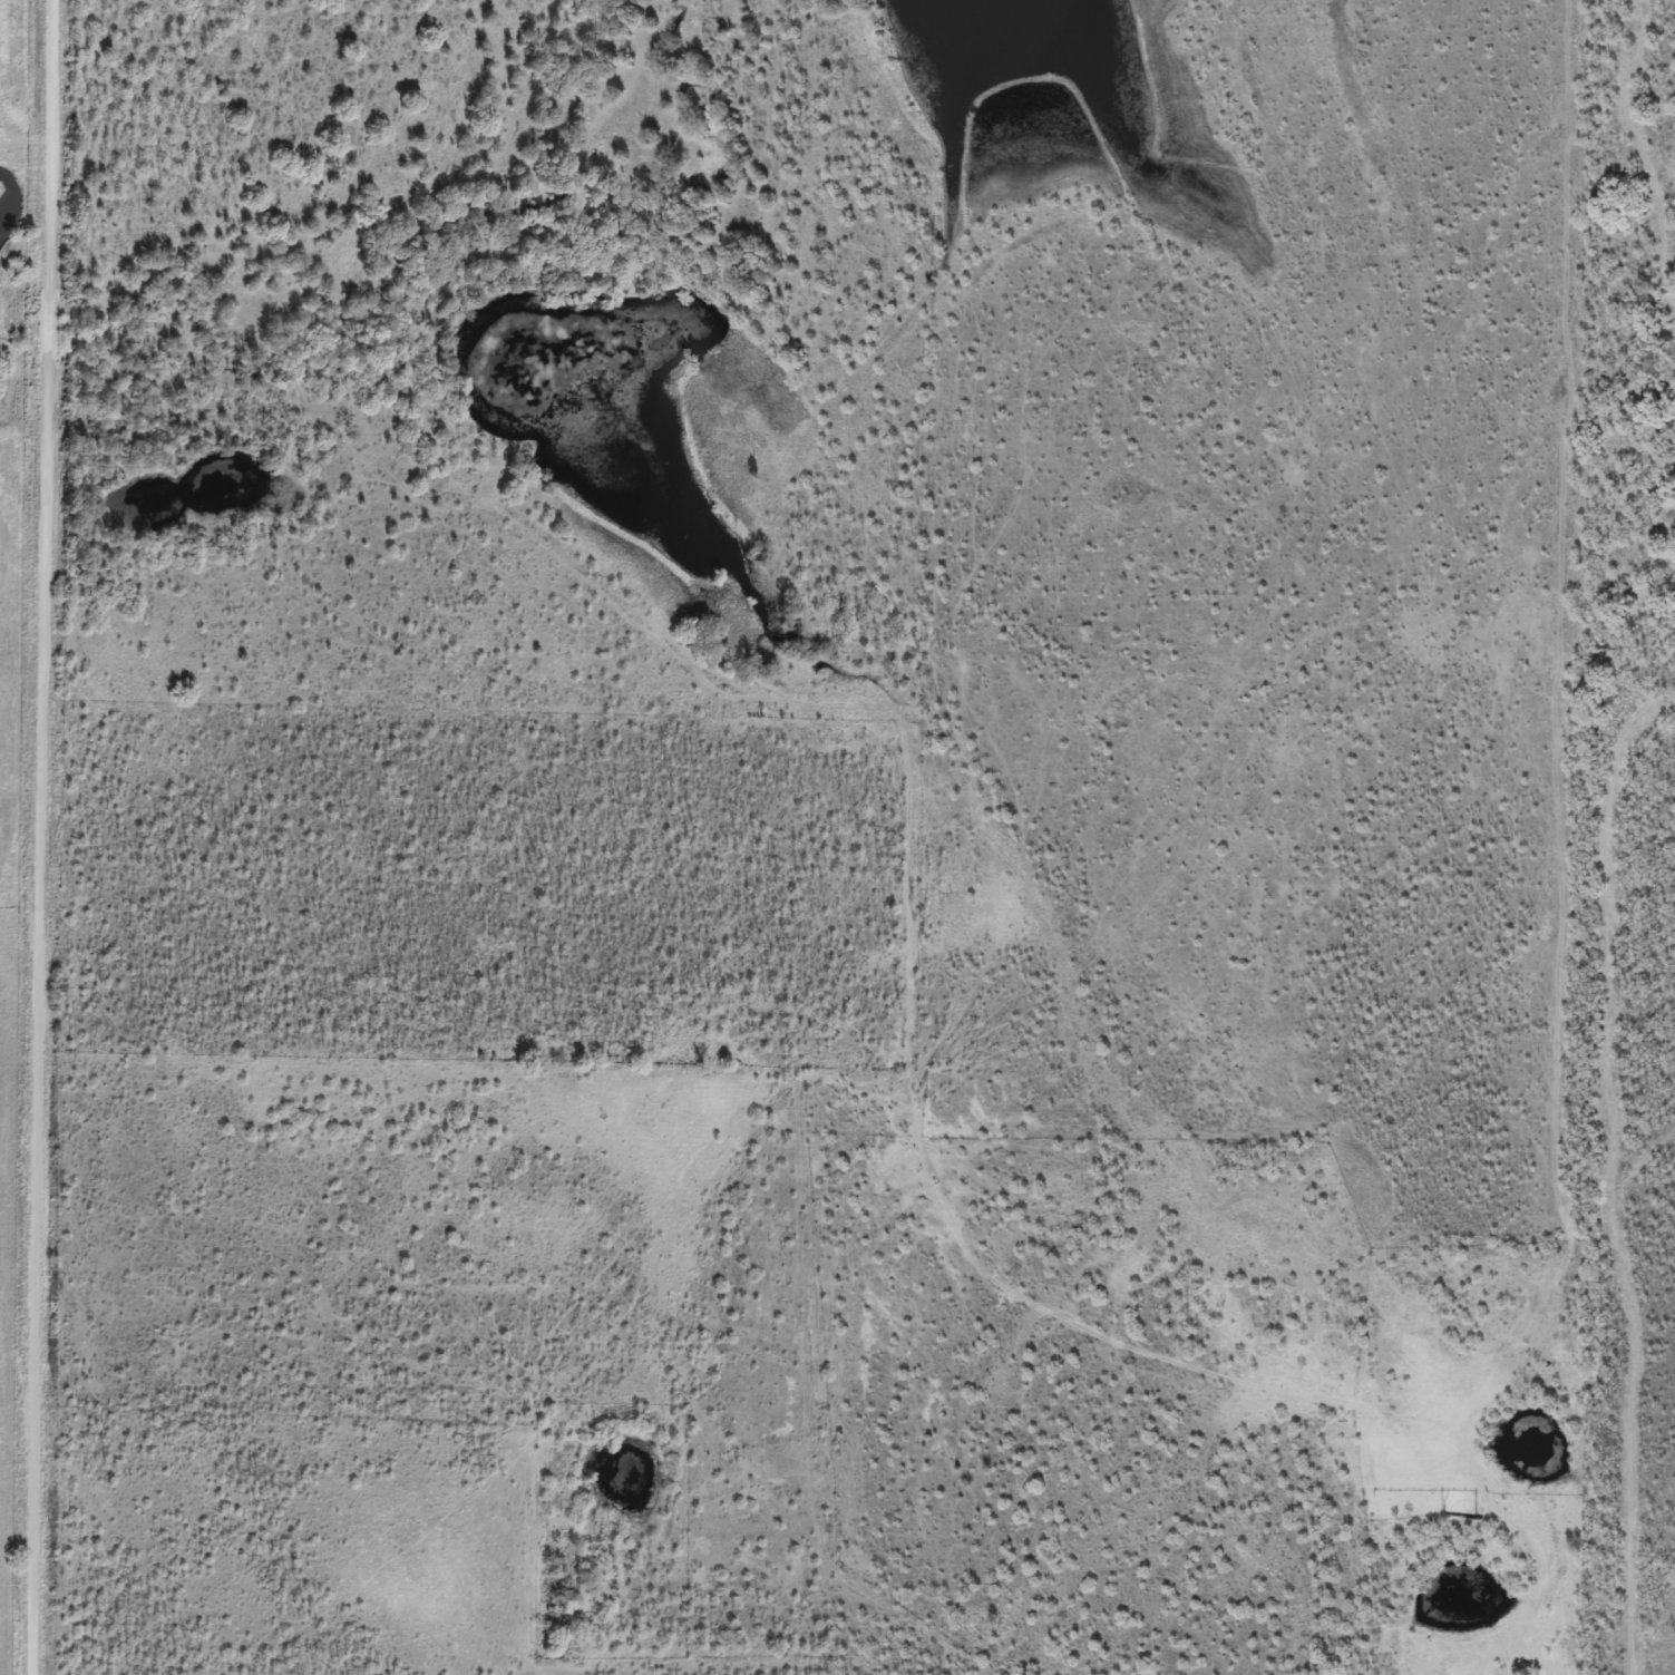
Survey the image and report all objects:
road: (47, 837)

